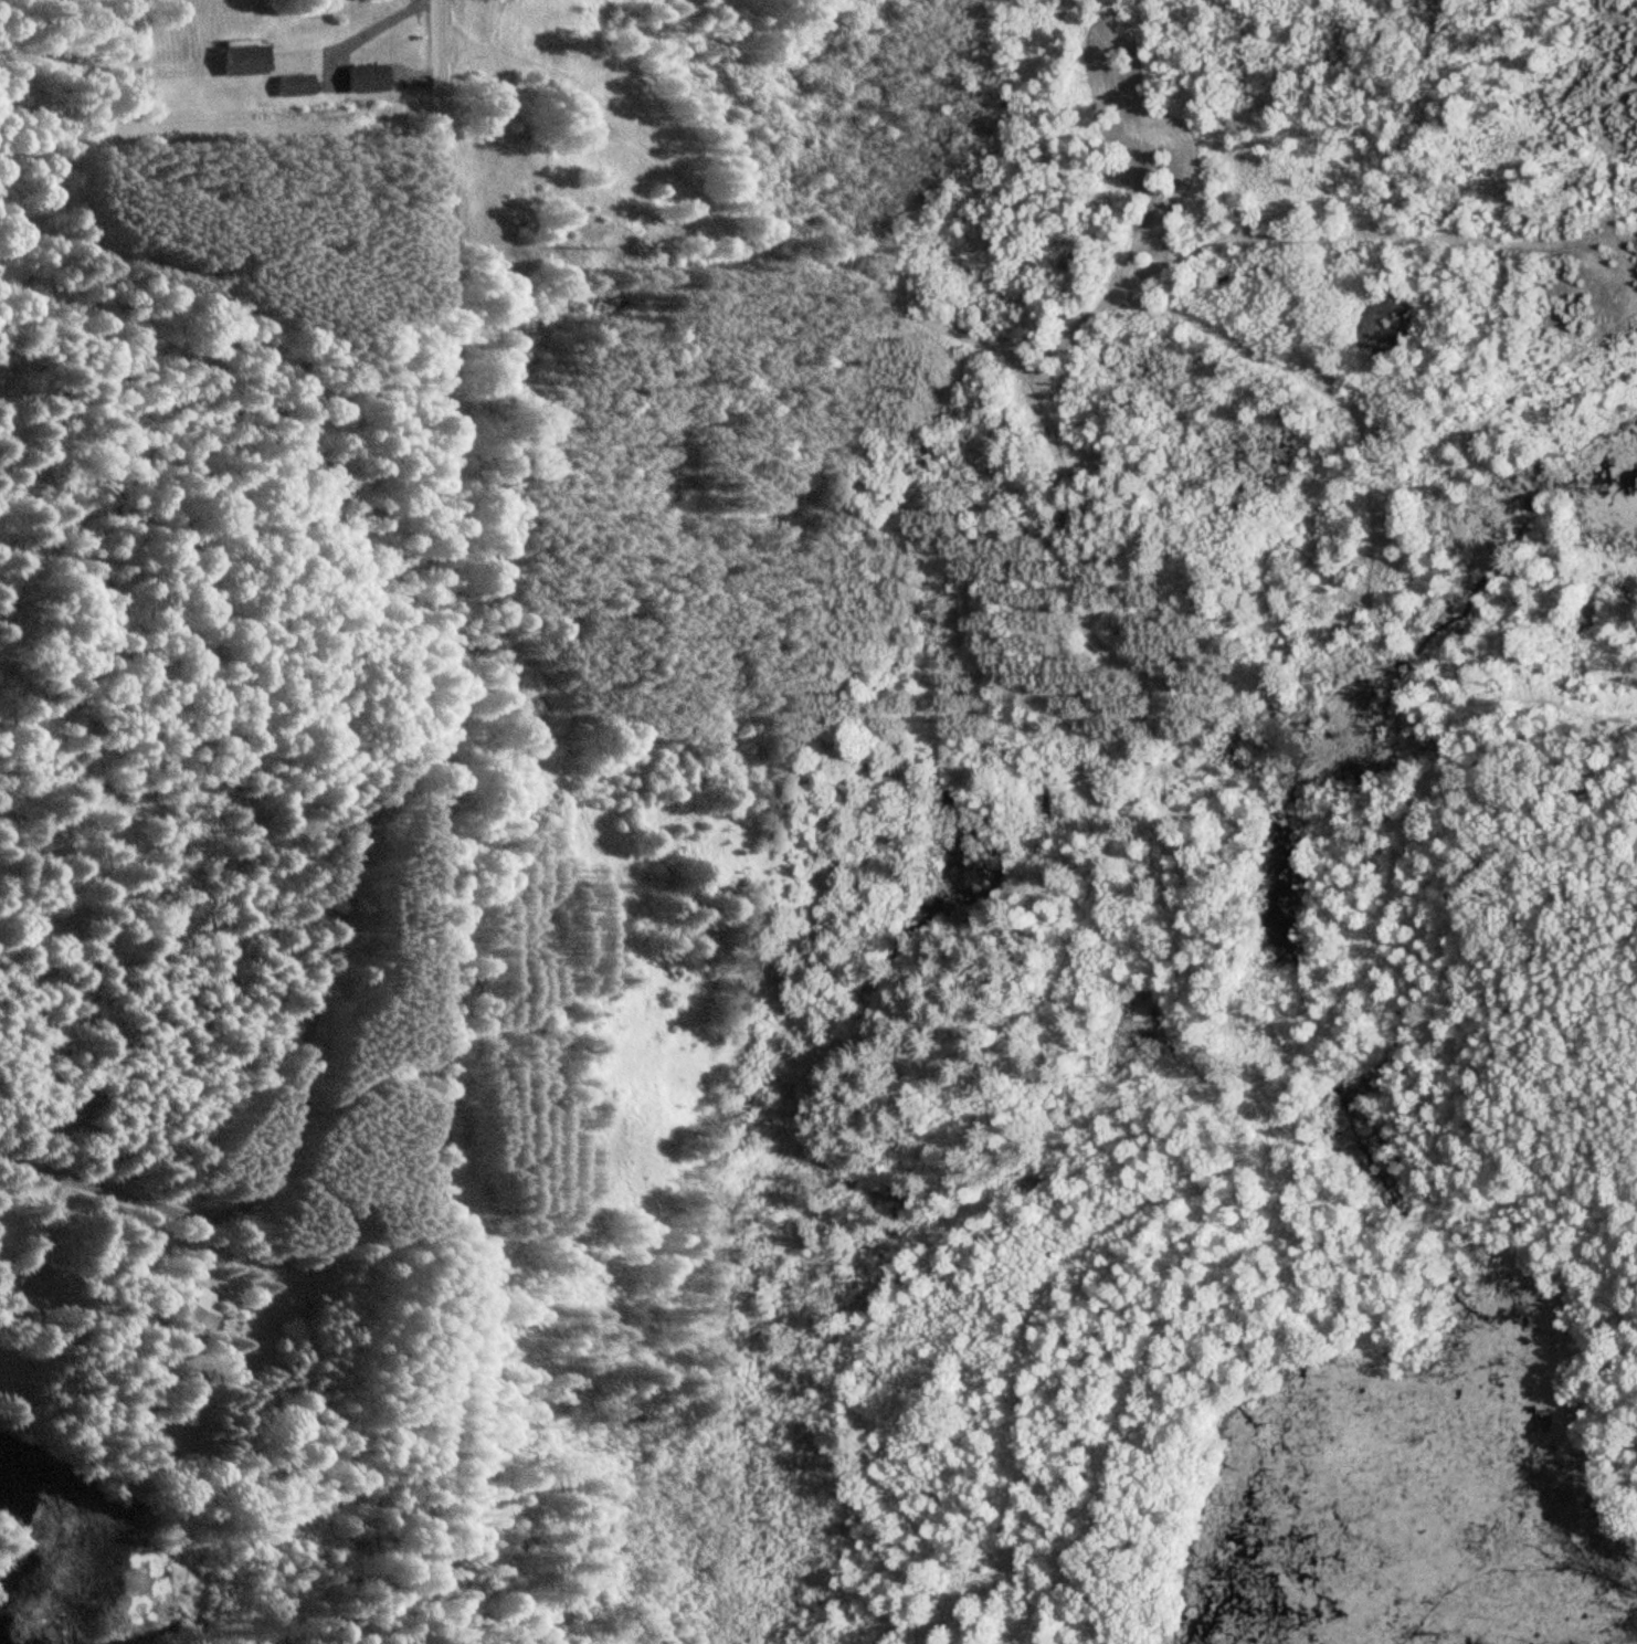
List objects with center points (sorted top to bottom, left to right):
building: (242, 57)
building: (366, 78)
building: (295, 85)
road: (441, 363)
road: (442, 965)
road: (289, 1078)
building: (70, 1114)
building: (202, 1308)

